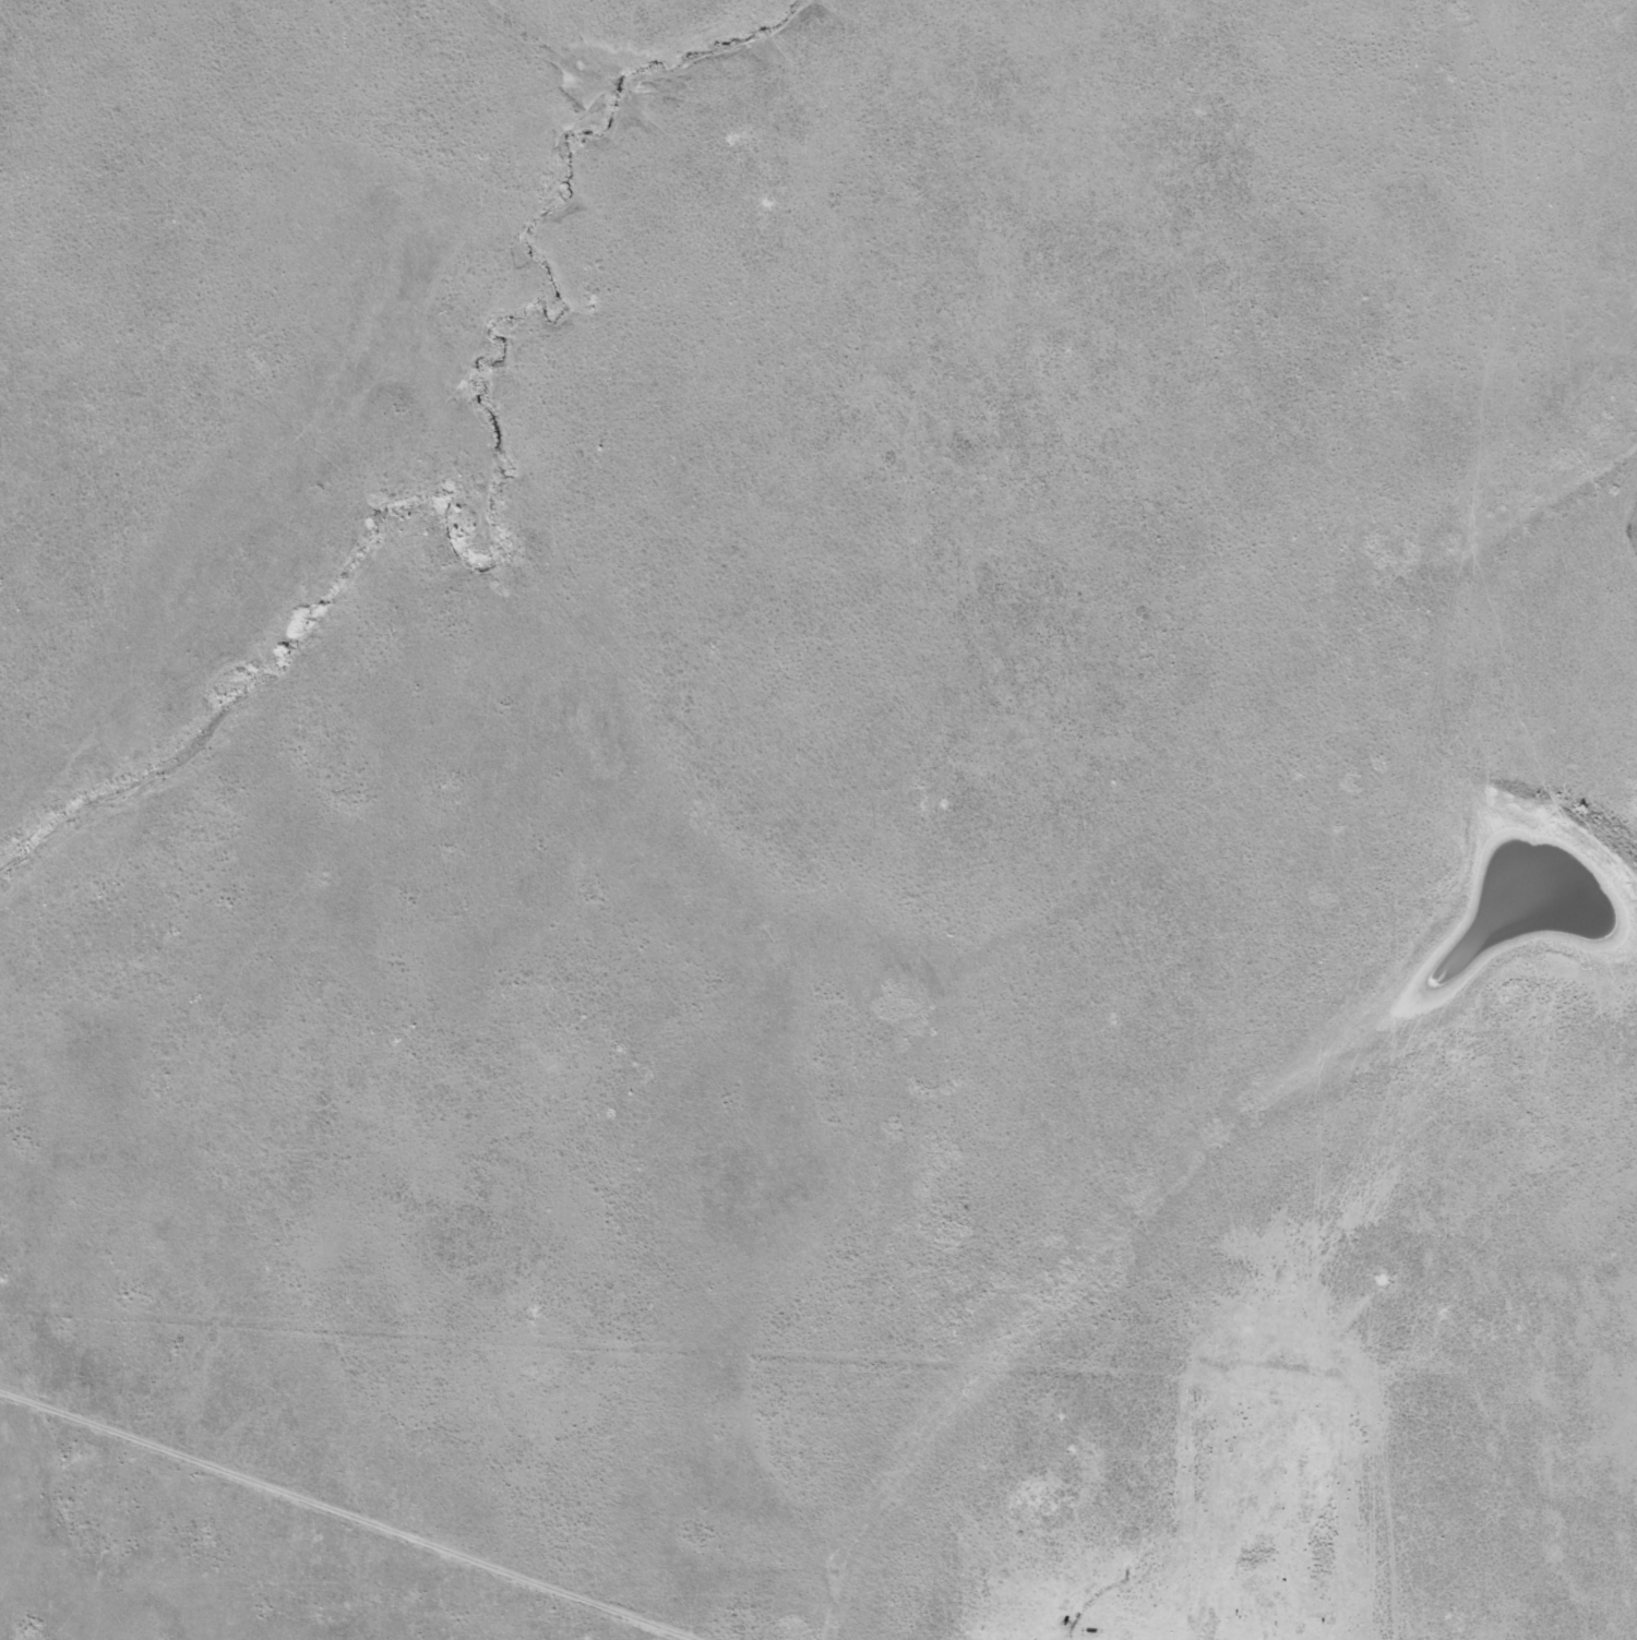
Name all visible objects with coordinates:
road: (349, 1517)

